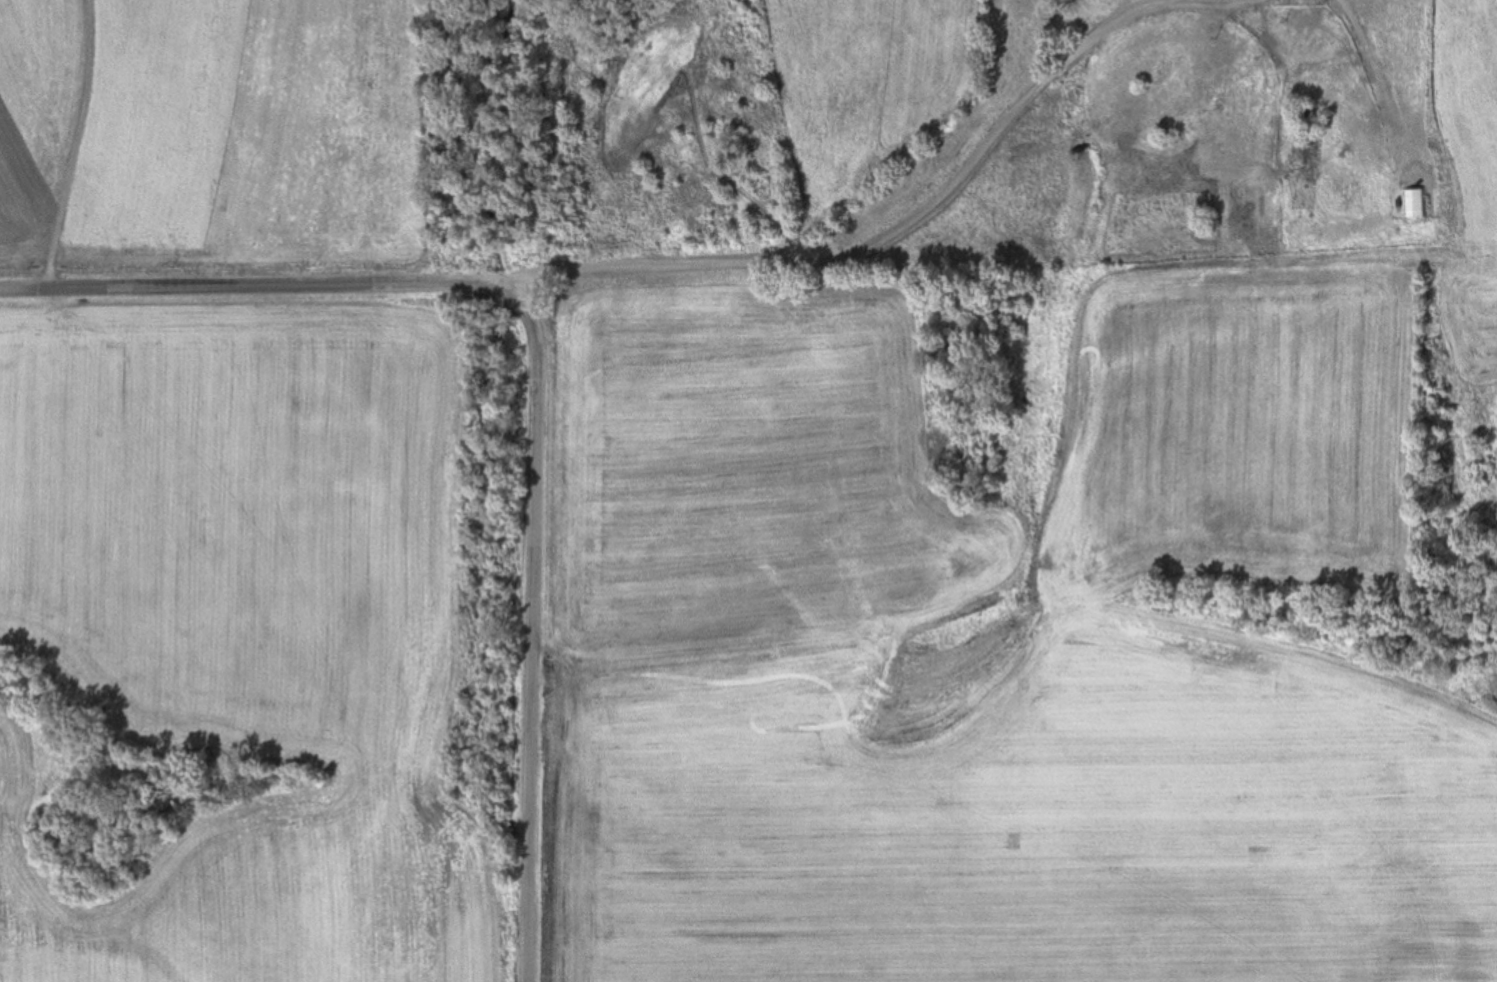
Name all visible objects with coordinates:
building: (1416, 203)
road: (826, 233)
road: (541, 376)

